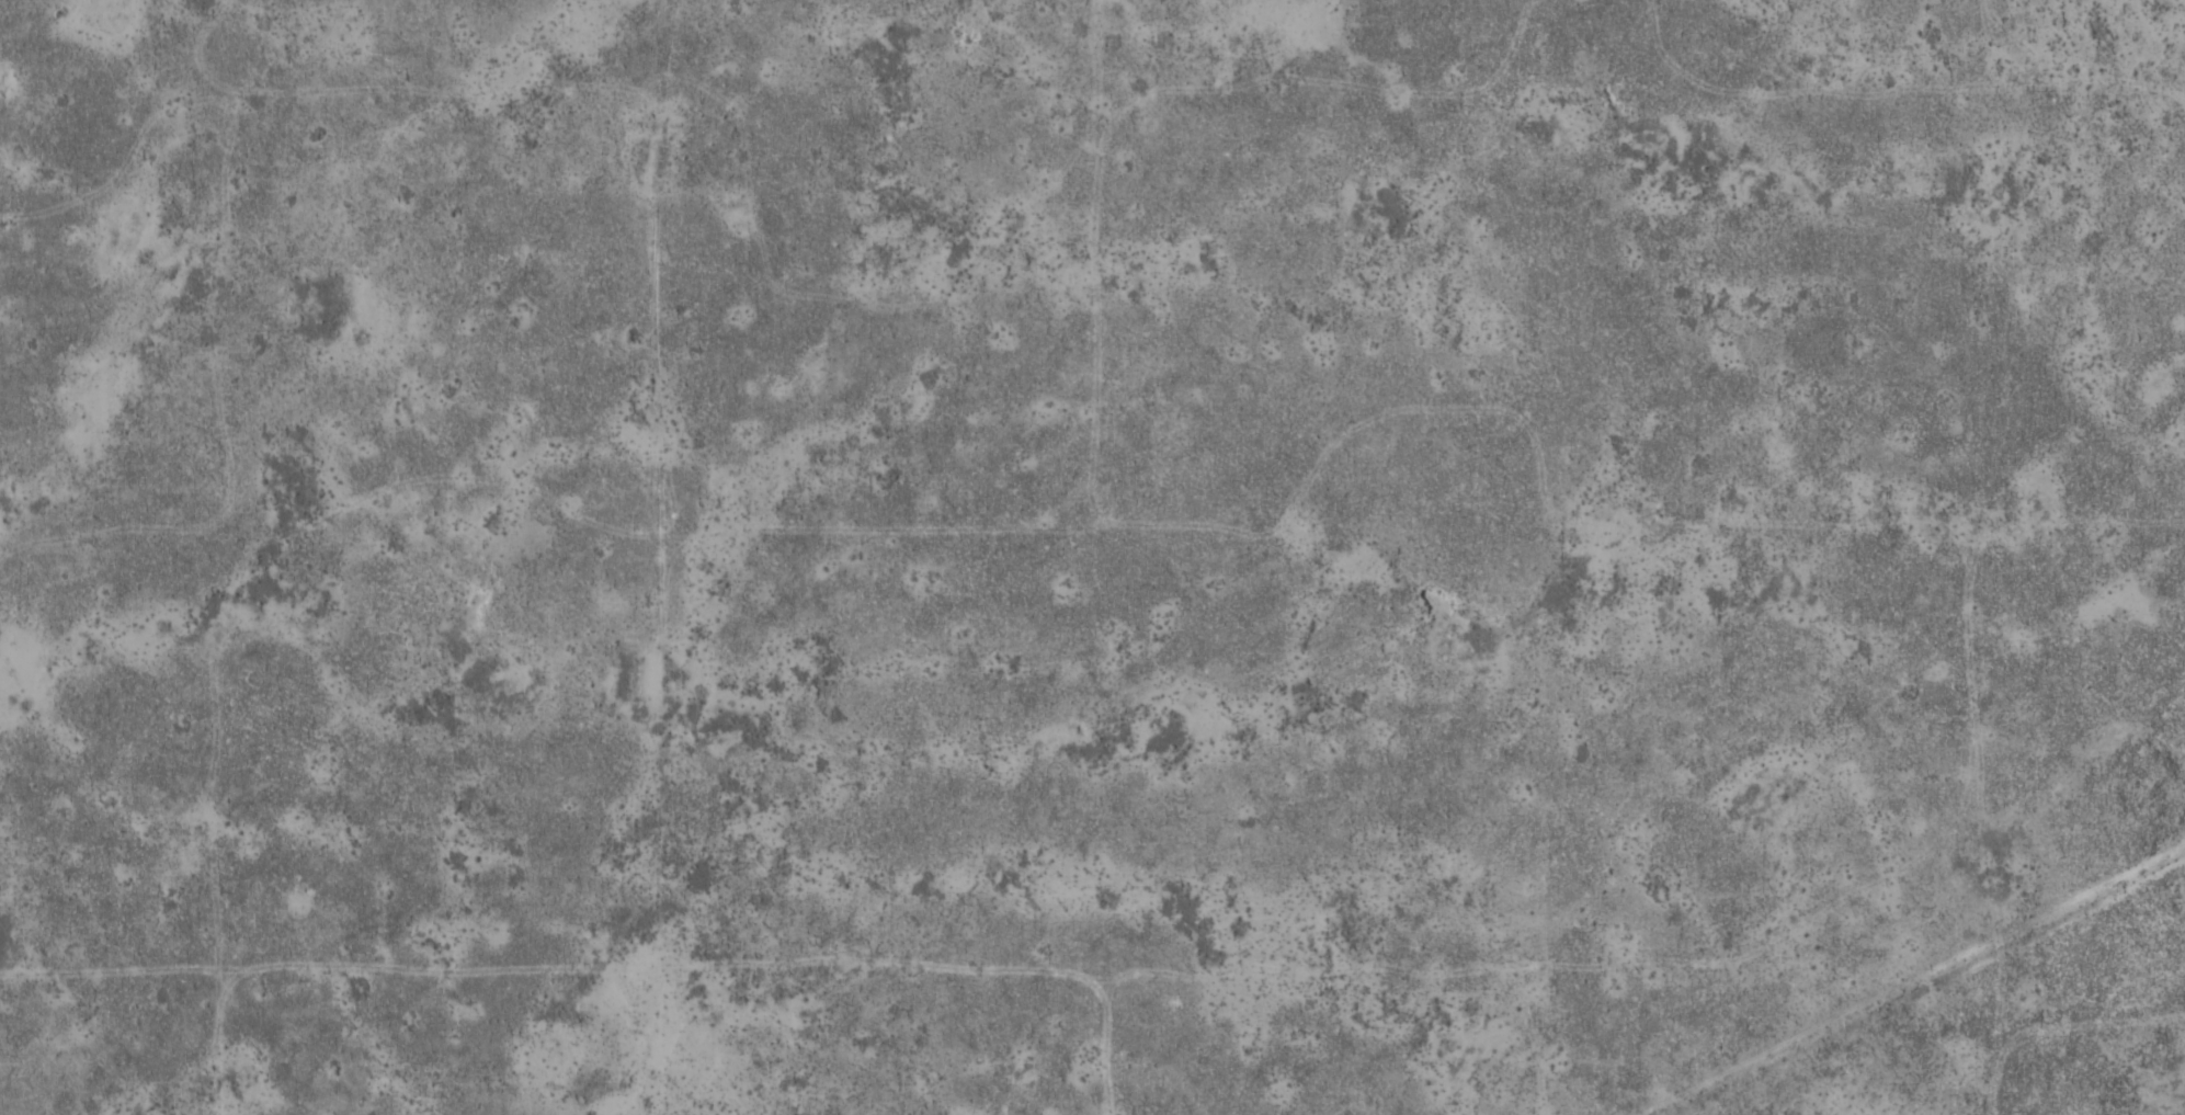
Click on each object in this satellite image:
road: (2055, 52)

